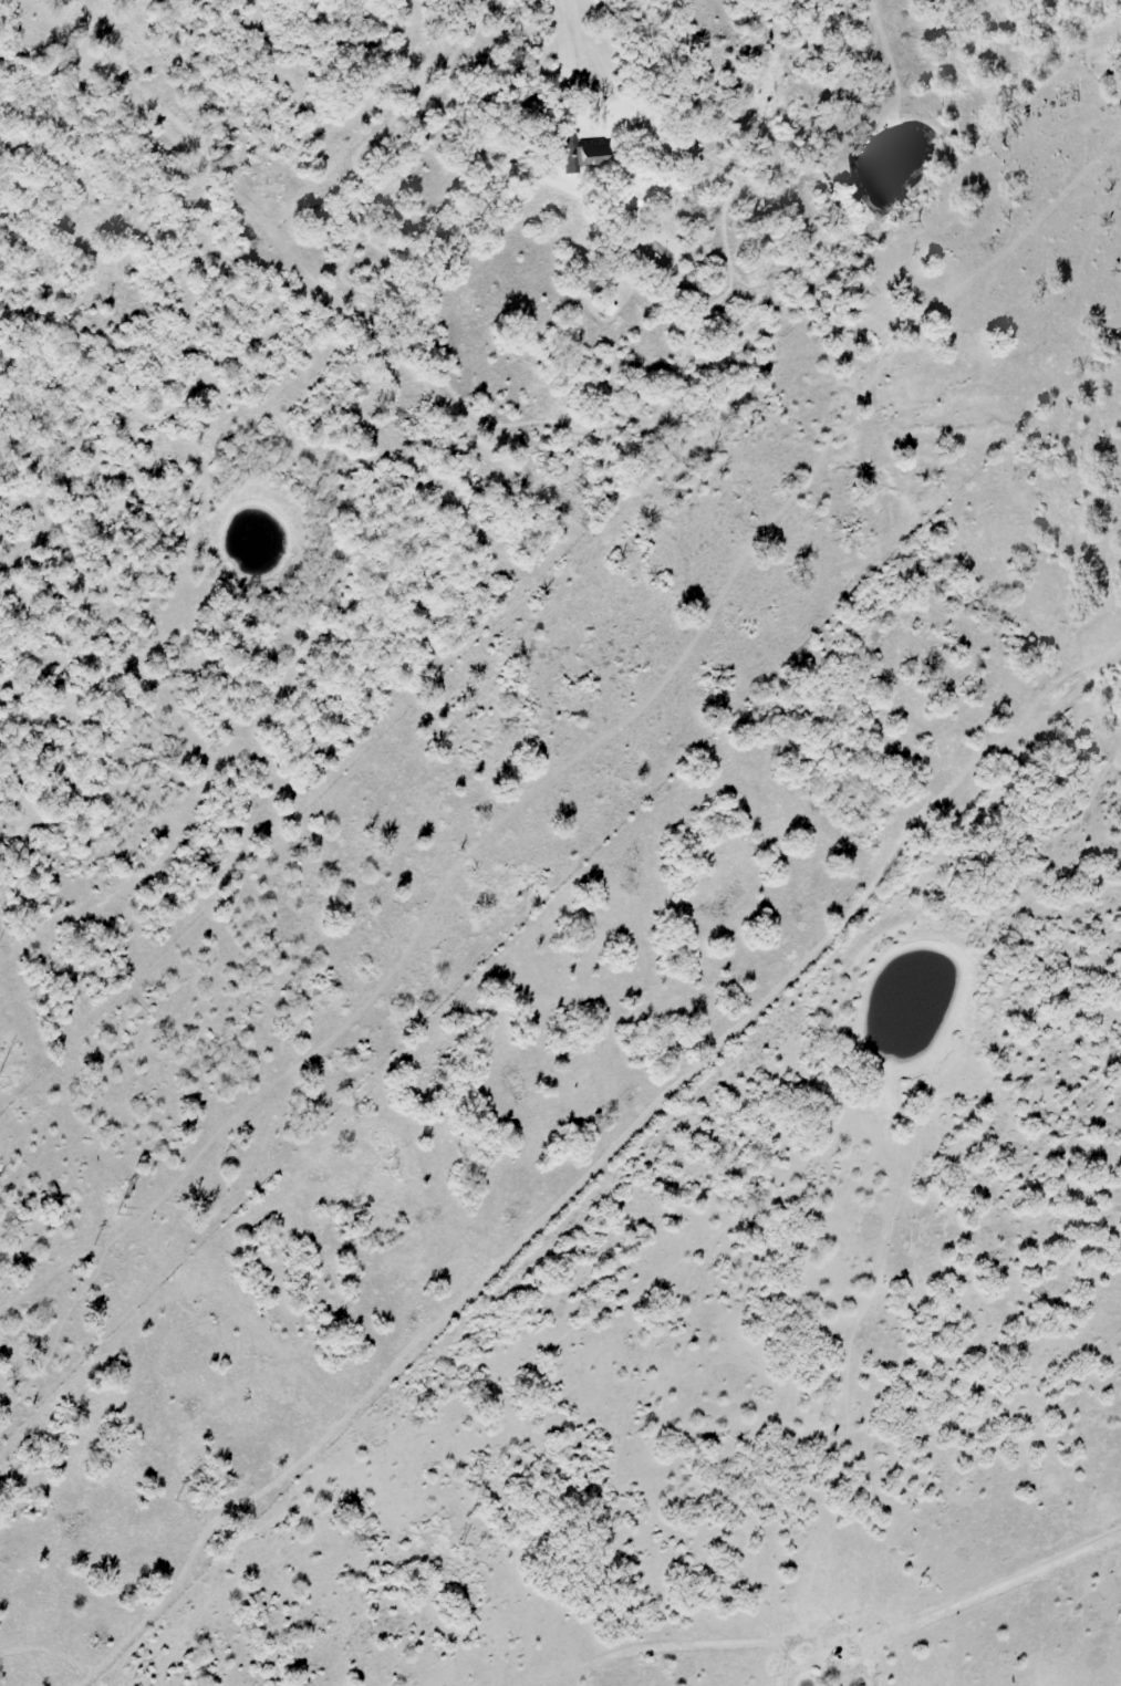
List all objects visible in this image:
building: (896, 34)
building: (1110, 81)
building: (1069, 98)
building: (579, 158)
building: (624, 205)
building: (609, 310)
road: (574, 763)
power tower: (116, 1208)
power tower: (458, 1548)
road: (824, 1640)

